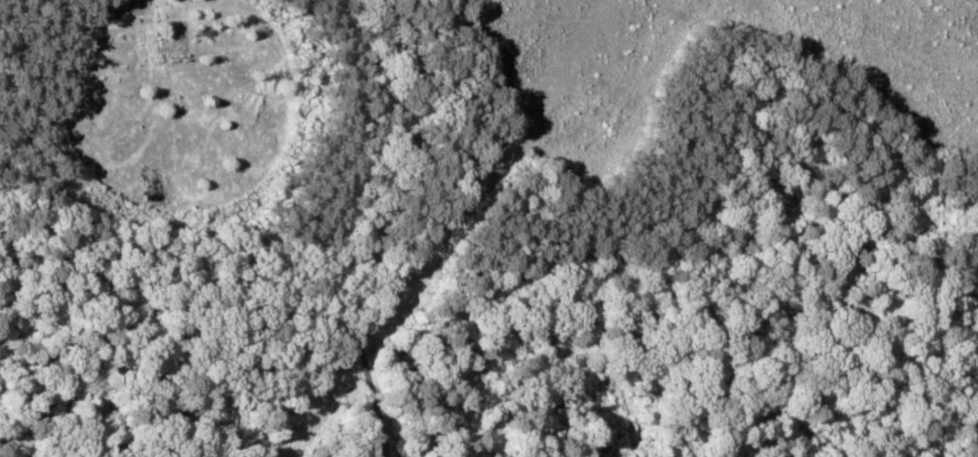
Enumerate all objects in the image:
building: (108, 10)
road: (372, 227)

